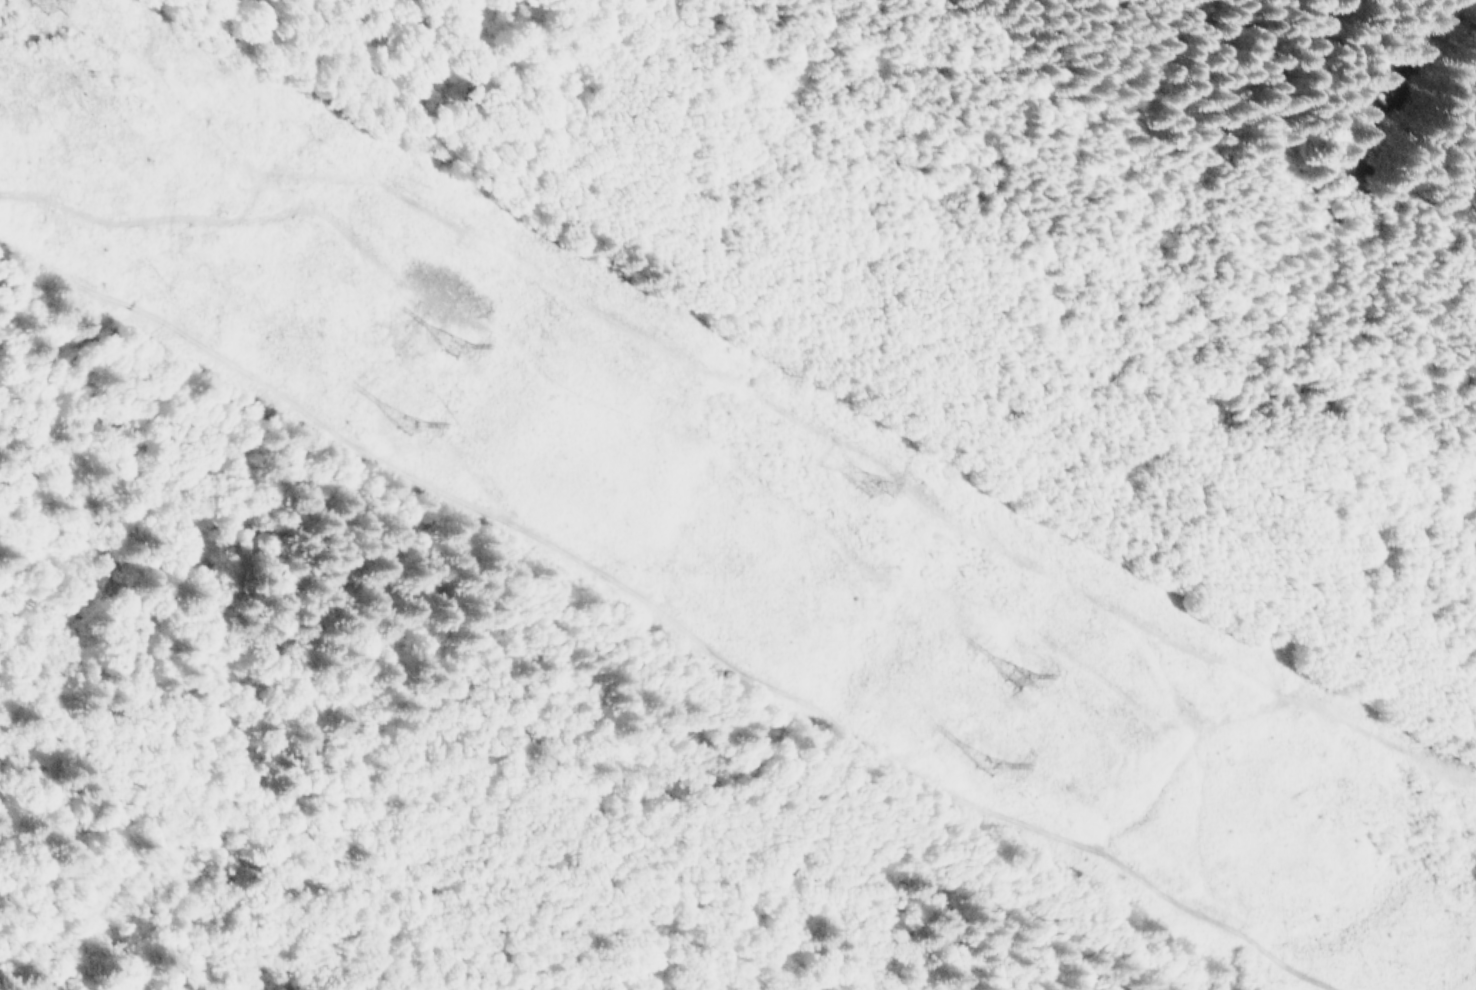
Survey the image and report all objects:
power tower: (451, 344)
power tower: (405, 422)
power tower: (869, 484)
road: (668, 613)
power tower: (1019, 674)
power tower: (993, 762)

